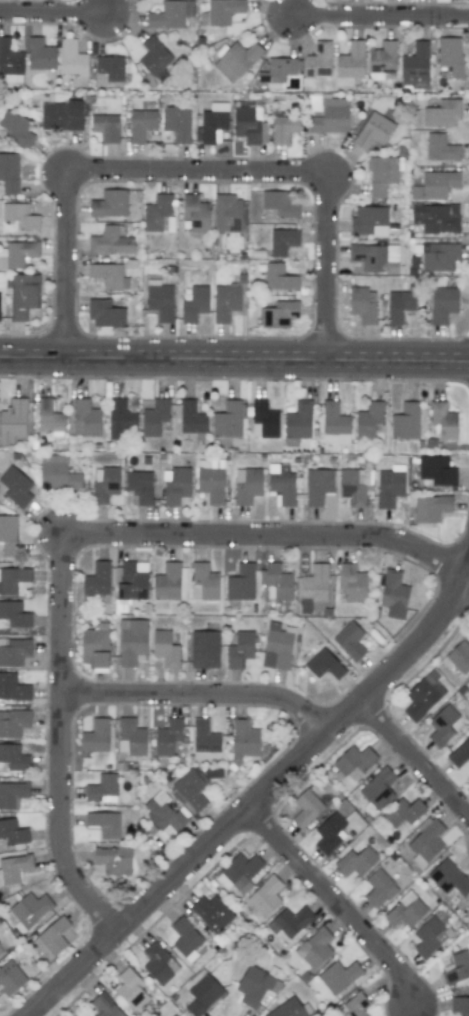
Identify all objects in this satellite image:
building: (223, 11)
road: (55, 12)
road: (382, 14)
building: (167, 15)
building: (40, 55)
building: (450, 56)
building: (10, 58)
building: (72, 58)
building: (154, 58)
building: (235, 60)
building: (382, 60)
building: (317, 63)
building: (349, 64)
building: (415, 66)
building: (108, 70)
building: (277, 70)
building: (442, 114)
building: (62, 115)
building: (329, 120)
building: (177, 123)
building: (212, 123)
building: (141, 124)
building: (247, 124)
building: (105, 127)
building: (16, 129)
building: (283, 129)
building: (373, 130)
building: (441, 147)
building: (9, 172)
building: (383, 174)
road: (200, 175)
building: (435, 185)
building: (110, 203)
building: (280, 204)
building: (195, 213)
building: (227, 213)
building: (158, 214)
building: (20, 216)
building: (436, 218)
building: (369, 221)
building: (110, 241)
building: (283, 241)
building: (17, 254)
building: (375, 257)
building: (440, 257)
building: (109, 276)
building: (279, 278)
building: (23, 295)
building: (159, 299)
building: (228, 301)
building: (195, 303)
building: (363, 304)
building: (443, 304)
building: (0, 305)
building: (399, 305)
building: (105, 314)
building: (279, 314)
road: (234, 357)
building: (48, 417)
building: (154, 417)
building: (85, 418)
building: (119, 418)
building: (192, 419)
building: (13, 420)
building: (227, 420)
building: (264, 420)
building: (299, 420)
building: (368, 420)
building: (443, 420)
building: (335, 421)
building: (405, 421)
building: (437, 470)
building: (57, 473)
building: (210, 480)
building: (104, 484)
building: (176, 484)
building: (281, 484)
building: (247, 485)
building: (318, 485)
building: (354, 485)
building: (390, 485)
building: (16, 486)
building: (140, 486)
building: (431, 508)
building: (8, 535)
road: (72, 540)
building: (14, 580)
building: (97, 580)
building: (133, 580)
building: (204, 582)
building: (352, 582)
building: (241, 583)
building: (278, 583)
road: (467, 583)
building: (166, 585)
building: (314, 585)
building: (394, 595)
building: (14, 614)
building: (350, 641)
building: (132, 643)
building: (278, 645)
building: (95, 647)
building: (165, 649)
building: (204, 649)
building: (240, 649)
building: (14, 651)
building: (460, 657)
building: (324, 664)
building: (12, 687)
road: (203, 693)
building: (423, 695)
building: (13, 723)
building: (442, 725)
building: (95, 736)
building: (167, 736)
building: (131, 737)
building: (205, 737)
building: (244, 740)
building: (460, 754)
building: (13, 757)
road: (416, 757)
building: (353, 762)
building: (102, 789)
building: (190, 789)
building: (378, 790)
building: (12, 794)
road: (256, 798)
building: (306, 808)
building: (163, 813)
building: (403, 813)
building: (104, 823)
building: (13, 832)
building: (330, 833)
building: (426, 843)
building: (114, 860)
building: (356, 861)
building: (14, 869)
building: (238, 871)
building: (449, 878)
building: (379, 888)
building: (265, 896)
road: (336, 903)
building: (30, 909)
building: (405, 911)
building: (211, 912)
building: (290, 921)
building: (54, 935)
building: (430, 936)
building: (185, 937)
building: (314, 947)
building: (0, 954)
building: (159, 963)
building: (457, 968)
building: (338, 976)
building: (10, 977)
building: (254, 986)
building: (130, 989)
building: (203, 994)
building: (460, 1005)
building: (103, 1006)
building: (352, 1007)
building: (291, 1009)
building: (173, 1015)

